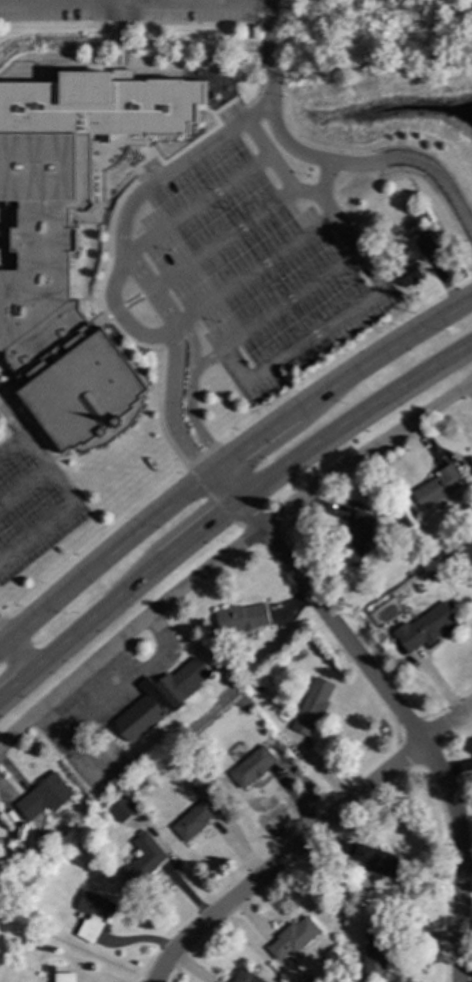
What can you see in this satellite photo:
road: (120, 0)
road: (135, 1)
parking lot: (128, 11)
road: (270, 96)
road: (418, 162)
road: (323, 178)
road: (317, 194)
road: (196, 205)
road: (127, 209)
road: (220, 240)
building: (70, 243)
building: (426, 245)
building: (388, 268)
parking lot: (253, 269)
road: (254, 270)
building: (410, 274)
road: (149, 290)
road: (289, 299)
road: (313, 334)
road: (207, 358)
road: (233, 364)
road: (188, 397)
road: (170, 407)
road: (227, 461)
road: (22, 486)
building: (438, 486)
road: (65, 495)
parking lot: (31, 500)
road: (227, 505)
building: (356, 538)
road: (229, 555)
building: (448, 560)
building: (435, 576)
building: (242, 618)
building: (424, 627)
road: (14, 652)
building: (231, 669)
building: (259, 688)
road: (116, 694)
building: (161, 699)
road: (393, 705)
building: (312, 706)
building: (193, 740)
building: (248, 742)
building: (218, 763)
building: (252, 767)
building: (197, 787)
building: (45, 797)
building: (192, 818)
road: (304, 838)
building: (16, 845)
building: (381, 863)
building: (142, 866)
building: (39, 874)
building: (94, 915)
building: (293, 938)
building: (374, 952)
building: (50, 968)
building: (64, 977)
building: (245, 977)
building: (307, 979)

